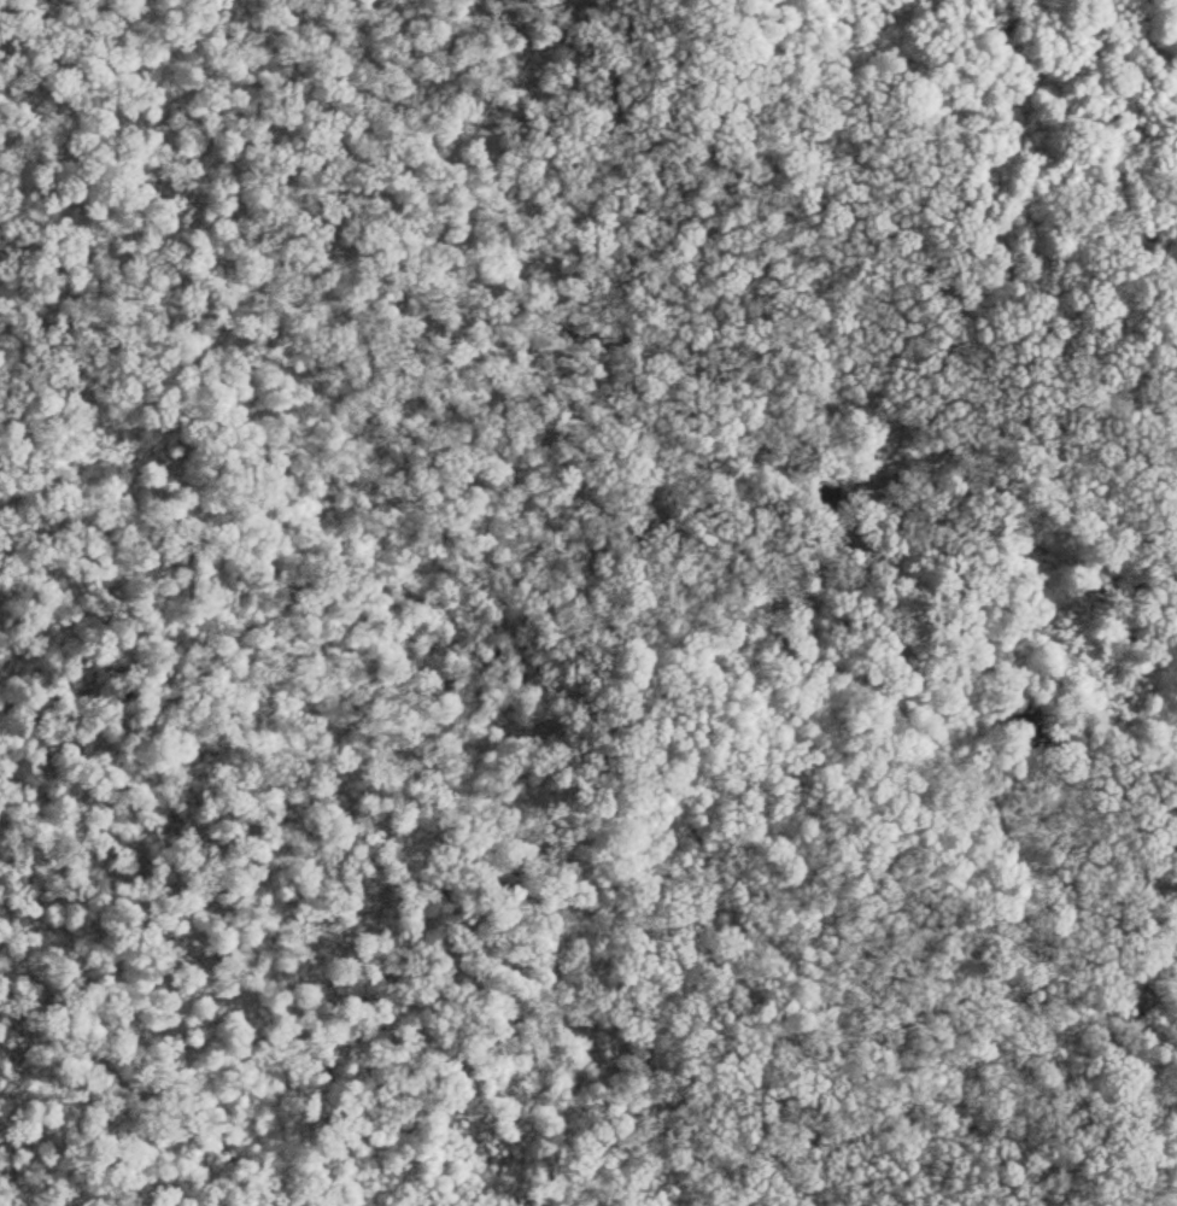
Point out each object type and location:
road: (1011, 827)

